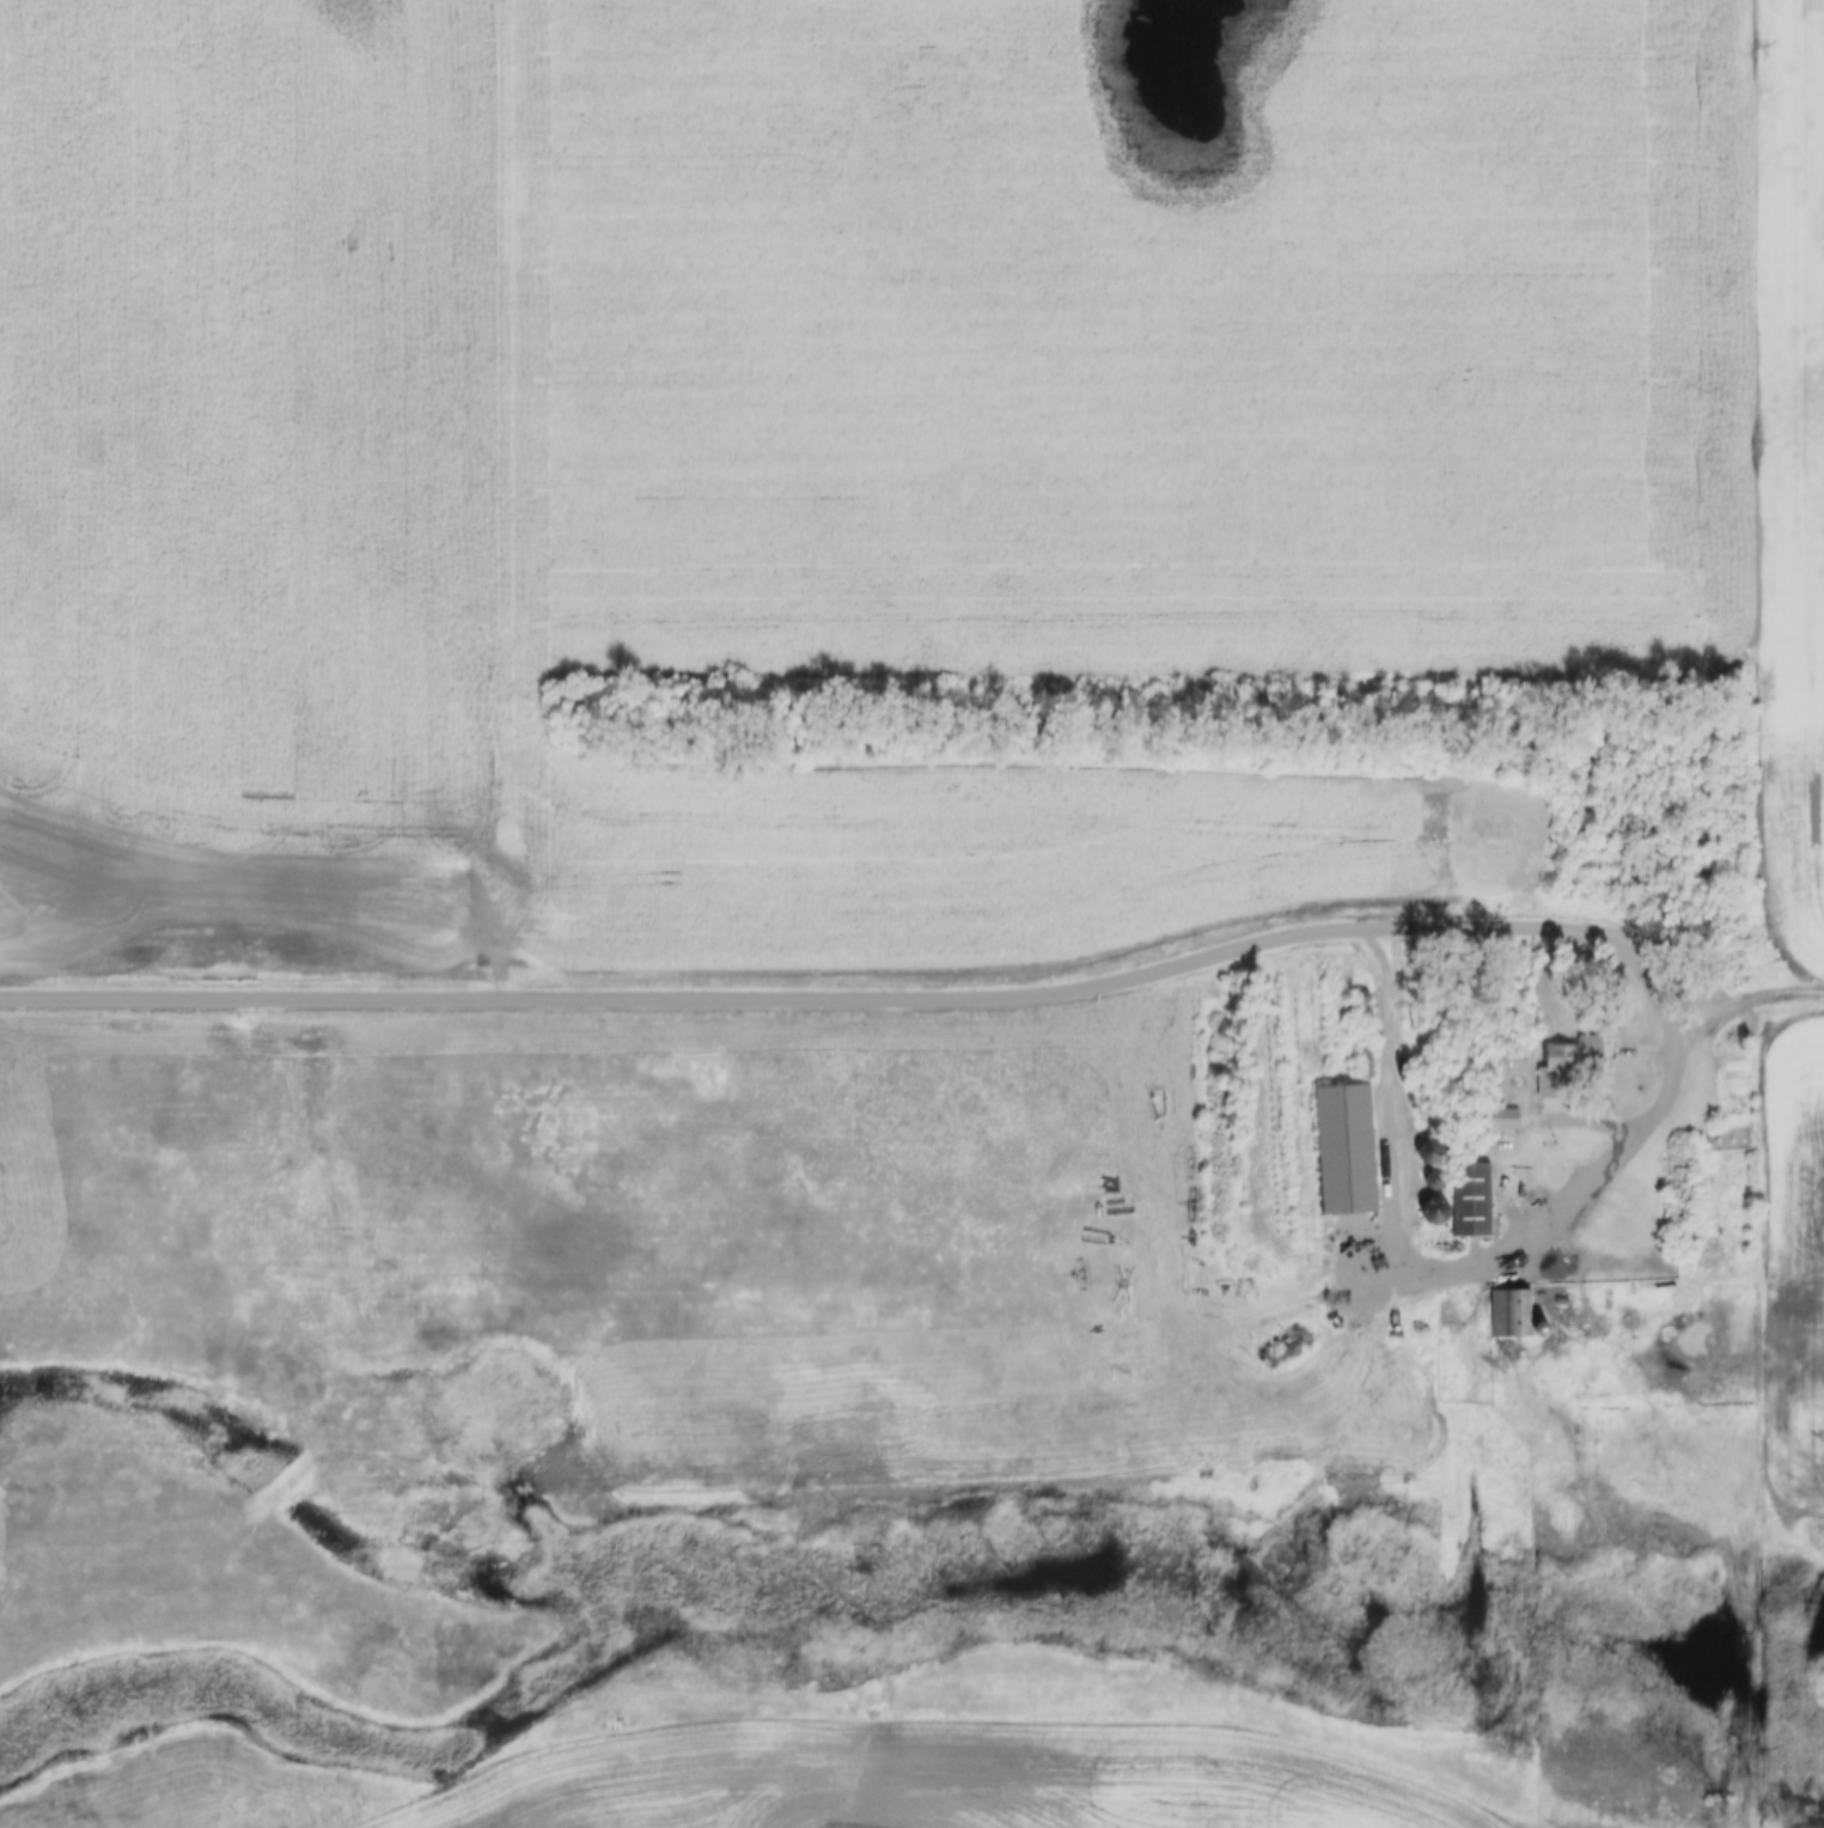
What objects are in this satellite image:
road: (685, 999)
road: (1745, 1001)
building: (1563, 1068)
building: (1501, 1121)
road: (1572, 1127)
road: (1579, 1182)
building: (1474, 1200)
building: (1509, 1315)
road: (1744, 1414)

